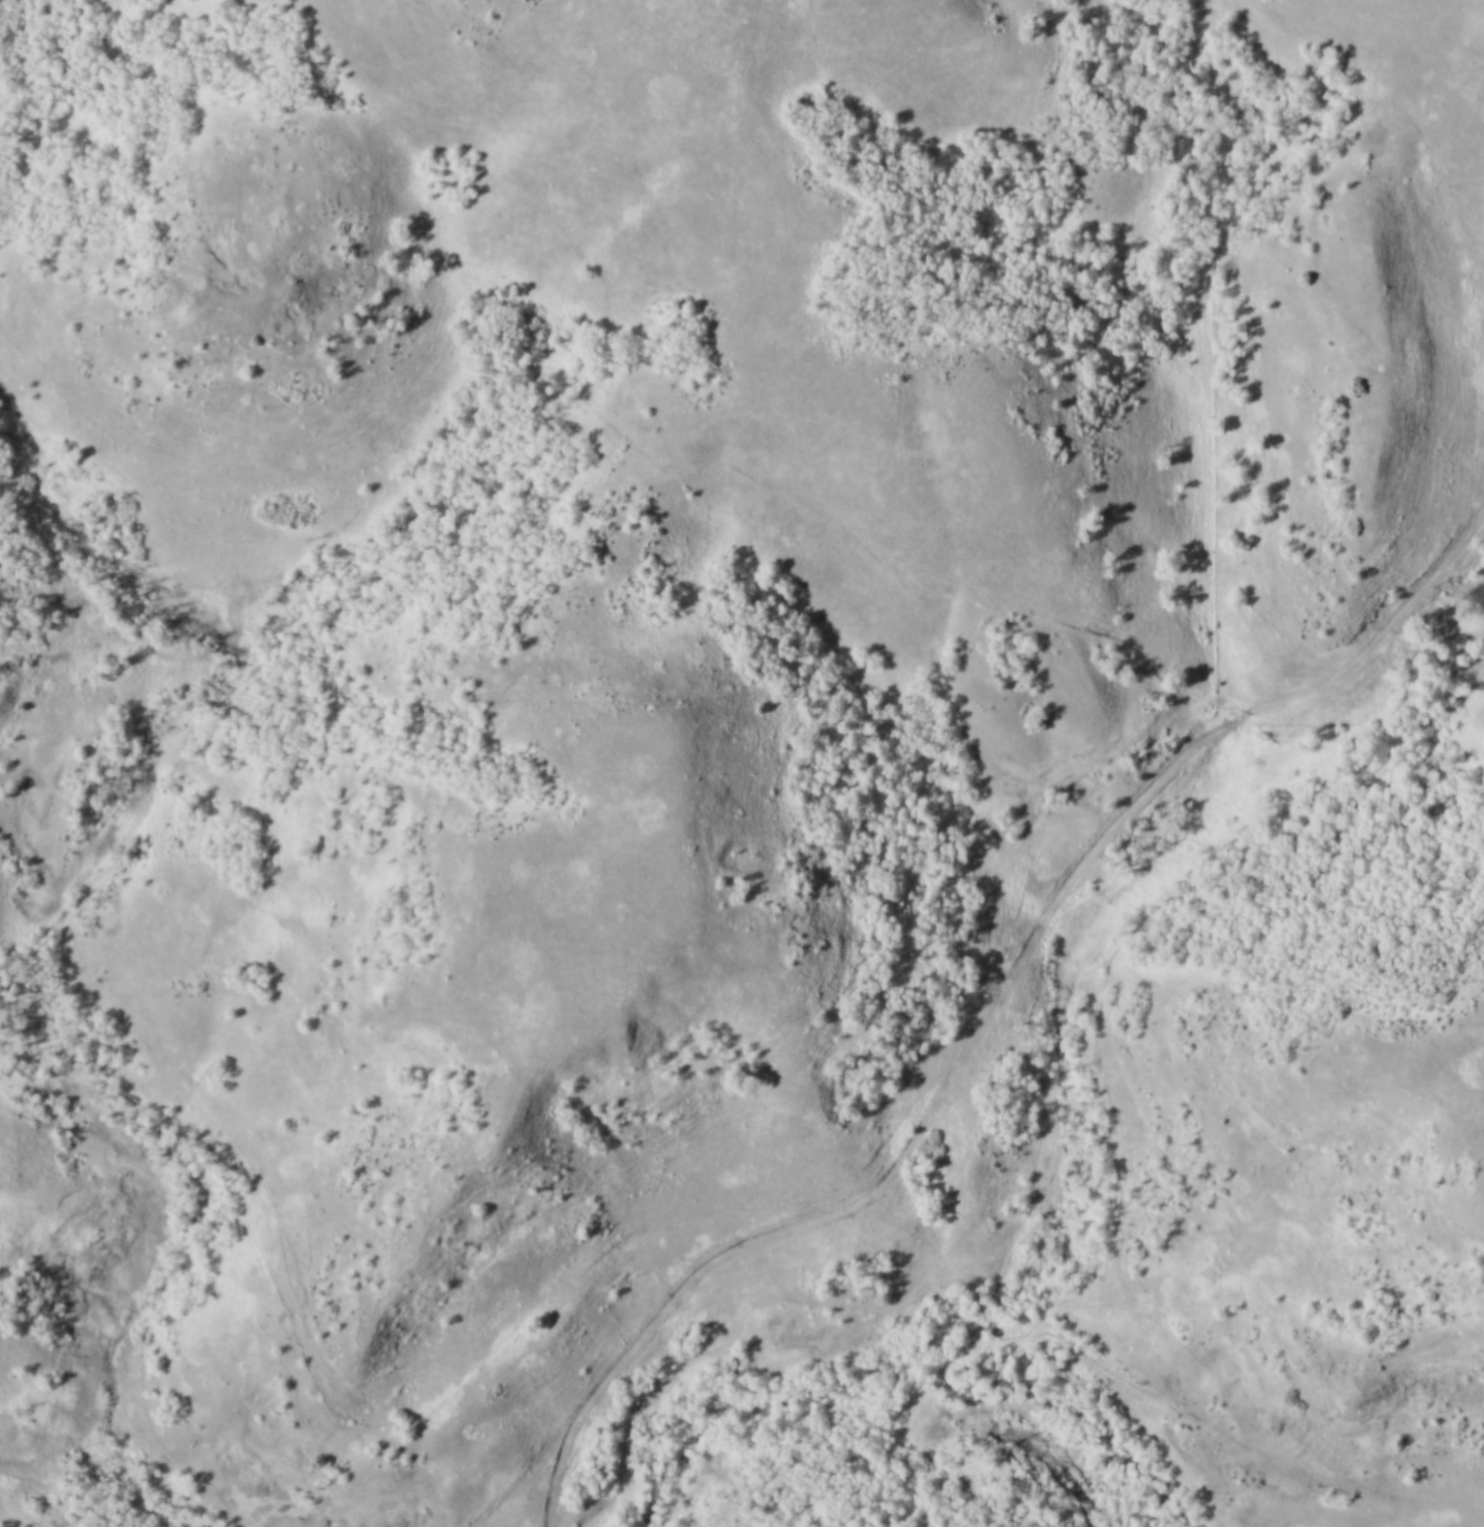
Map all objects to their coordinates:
road: (984, 1031)

